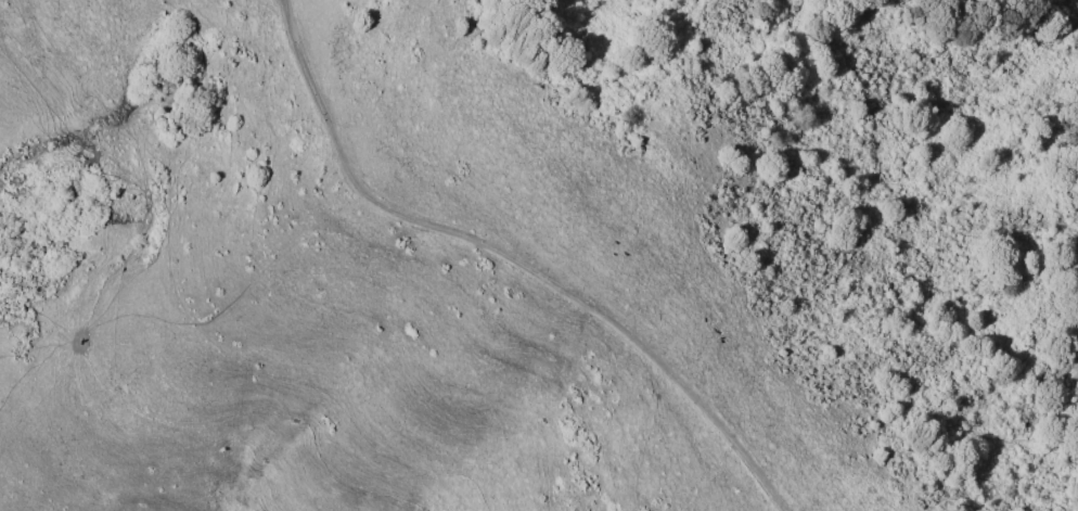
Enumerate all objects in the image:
road: (512, 258)

